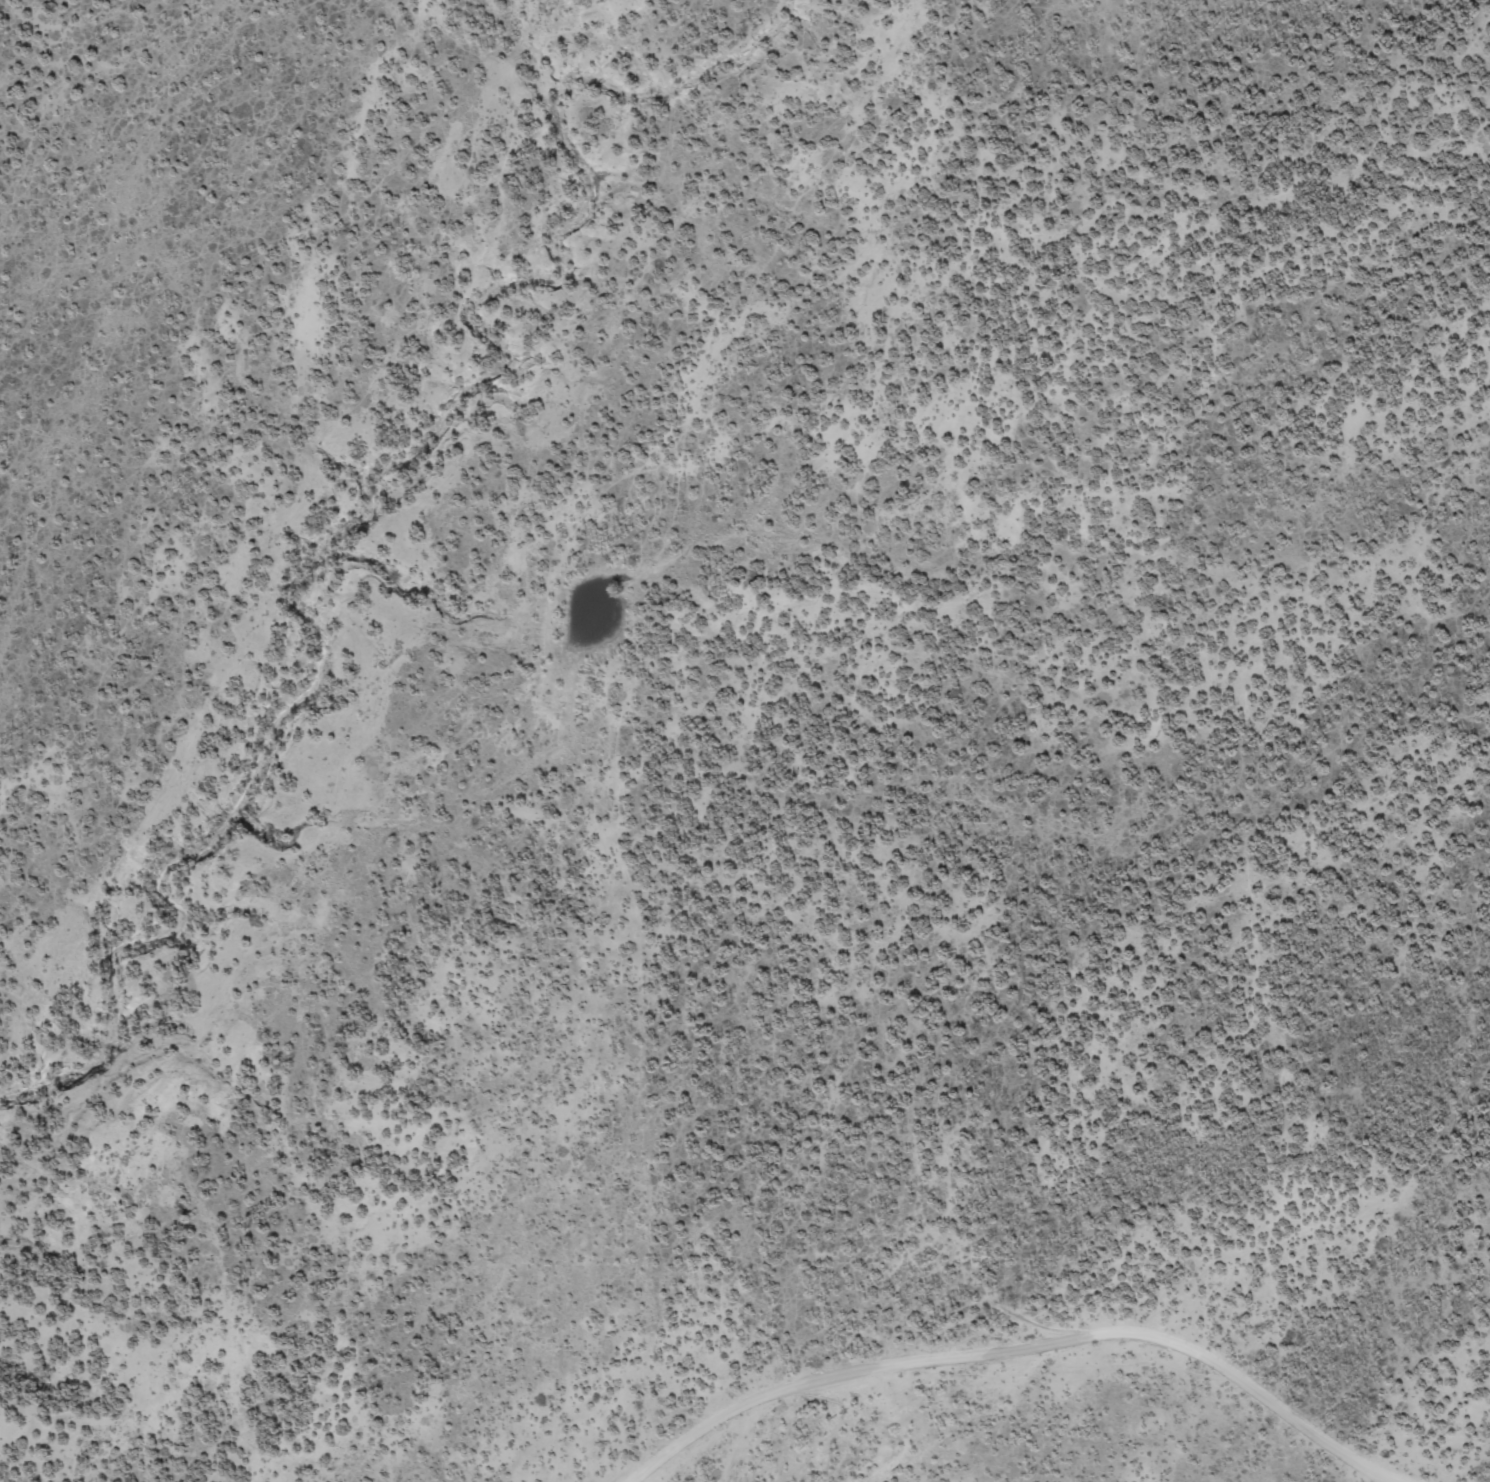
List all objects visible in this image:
road: (1032, 1298)

